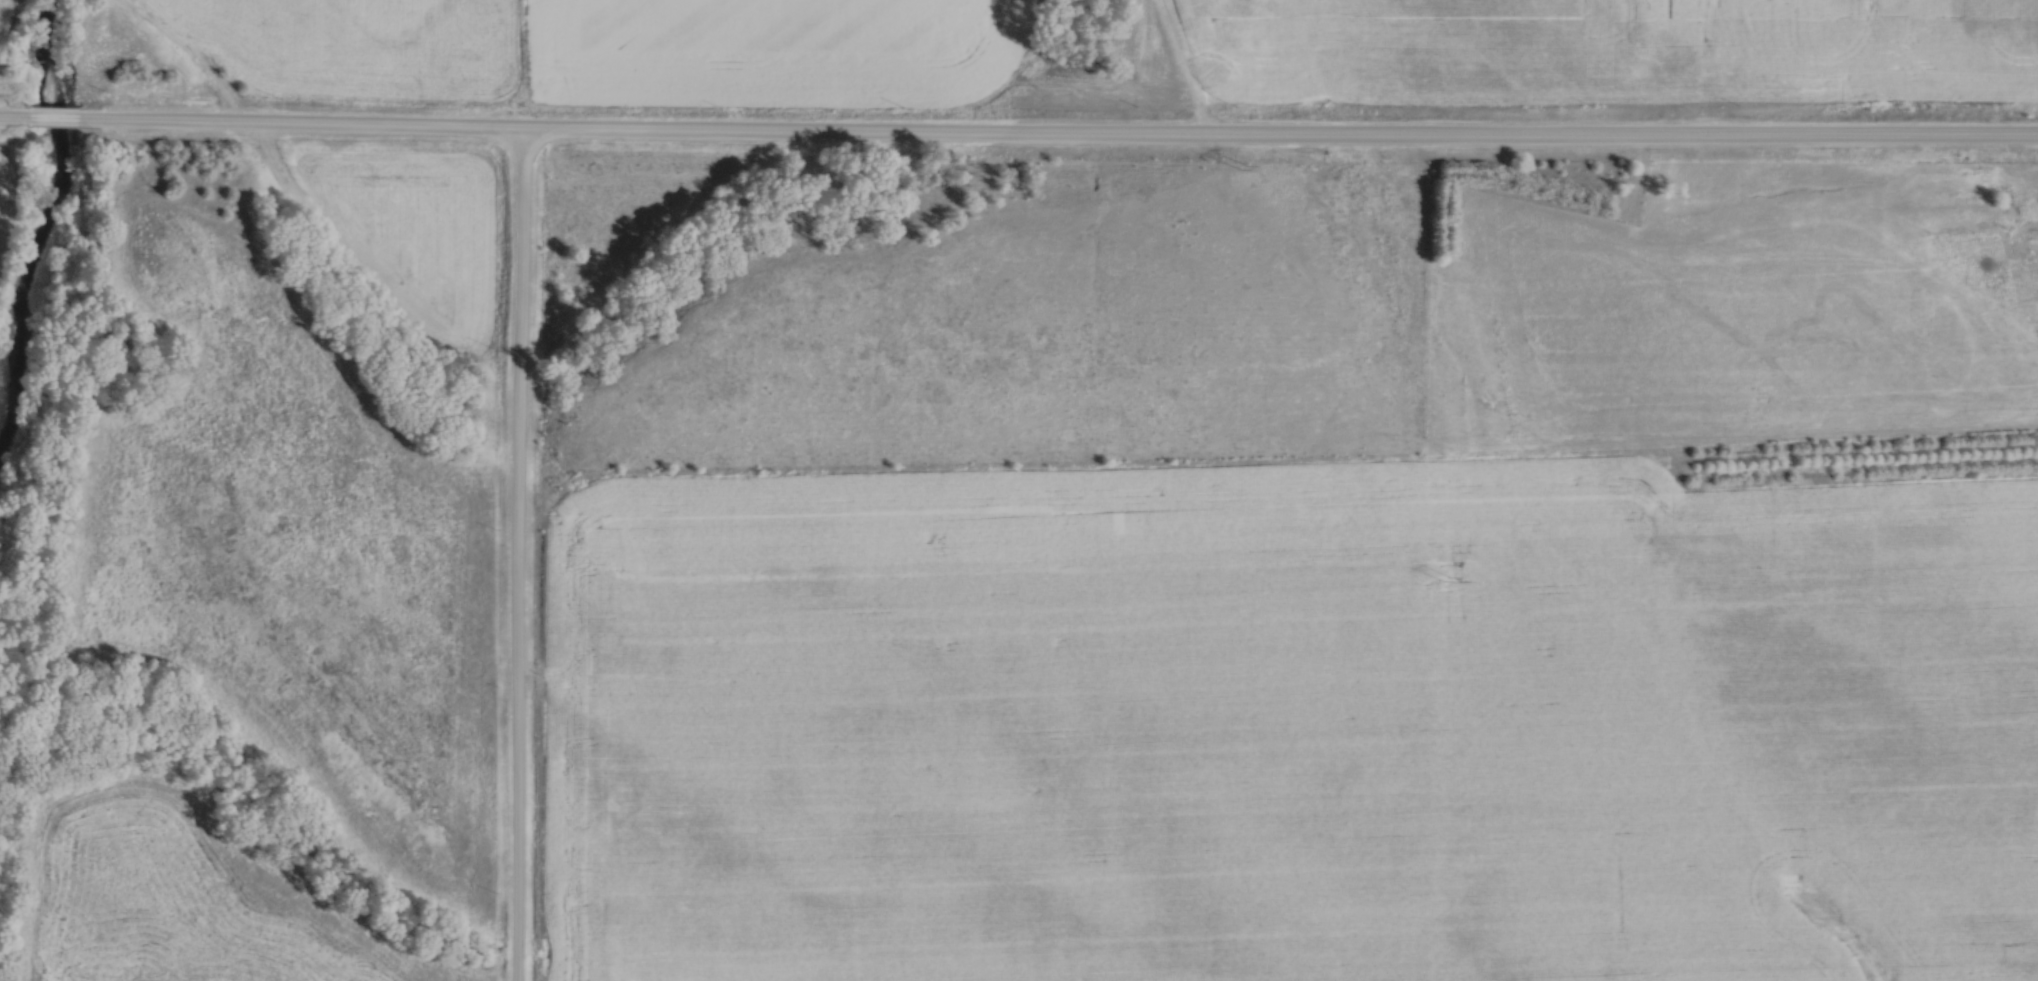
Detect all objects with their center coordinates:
road: (1018, 136)
power tower: (1245, 166)
road: (520, 555)
power tower: (1450, 577)

